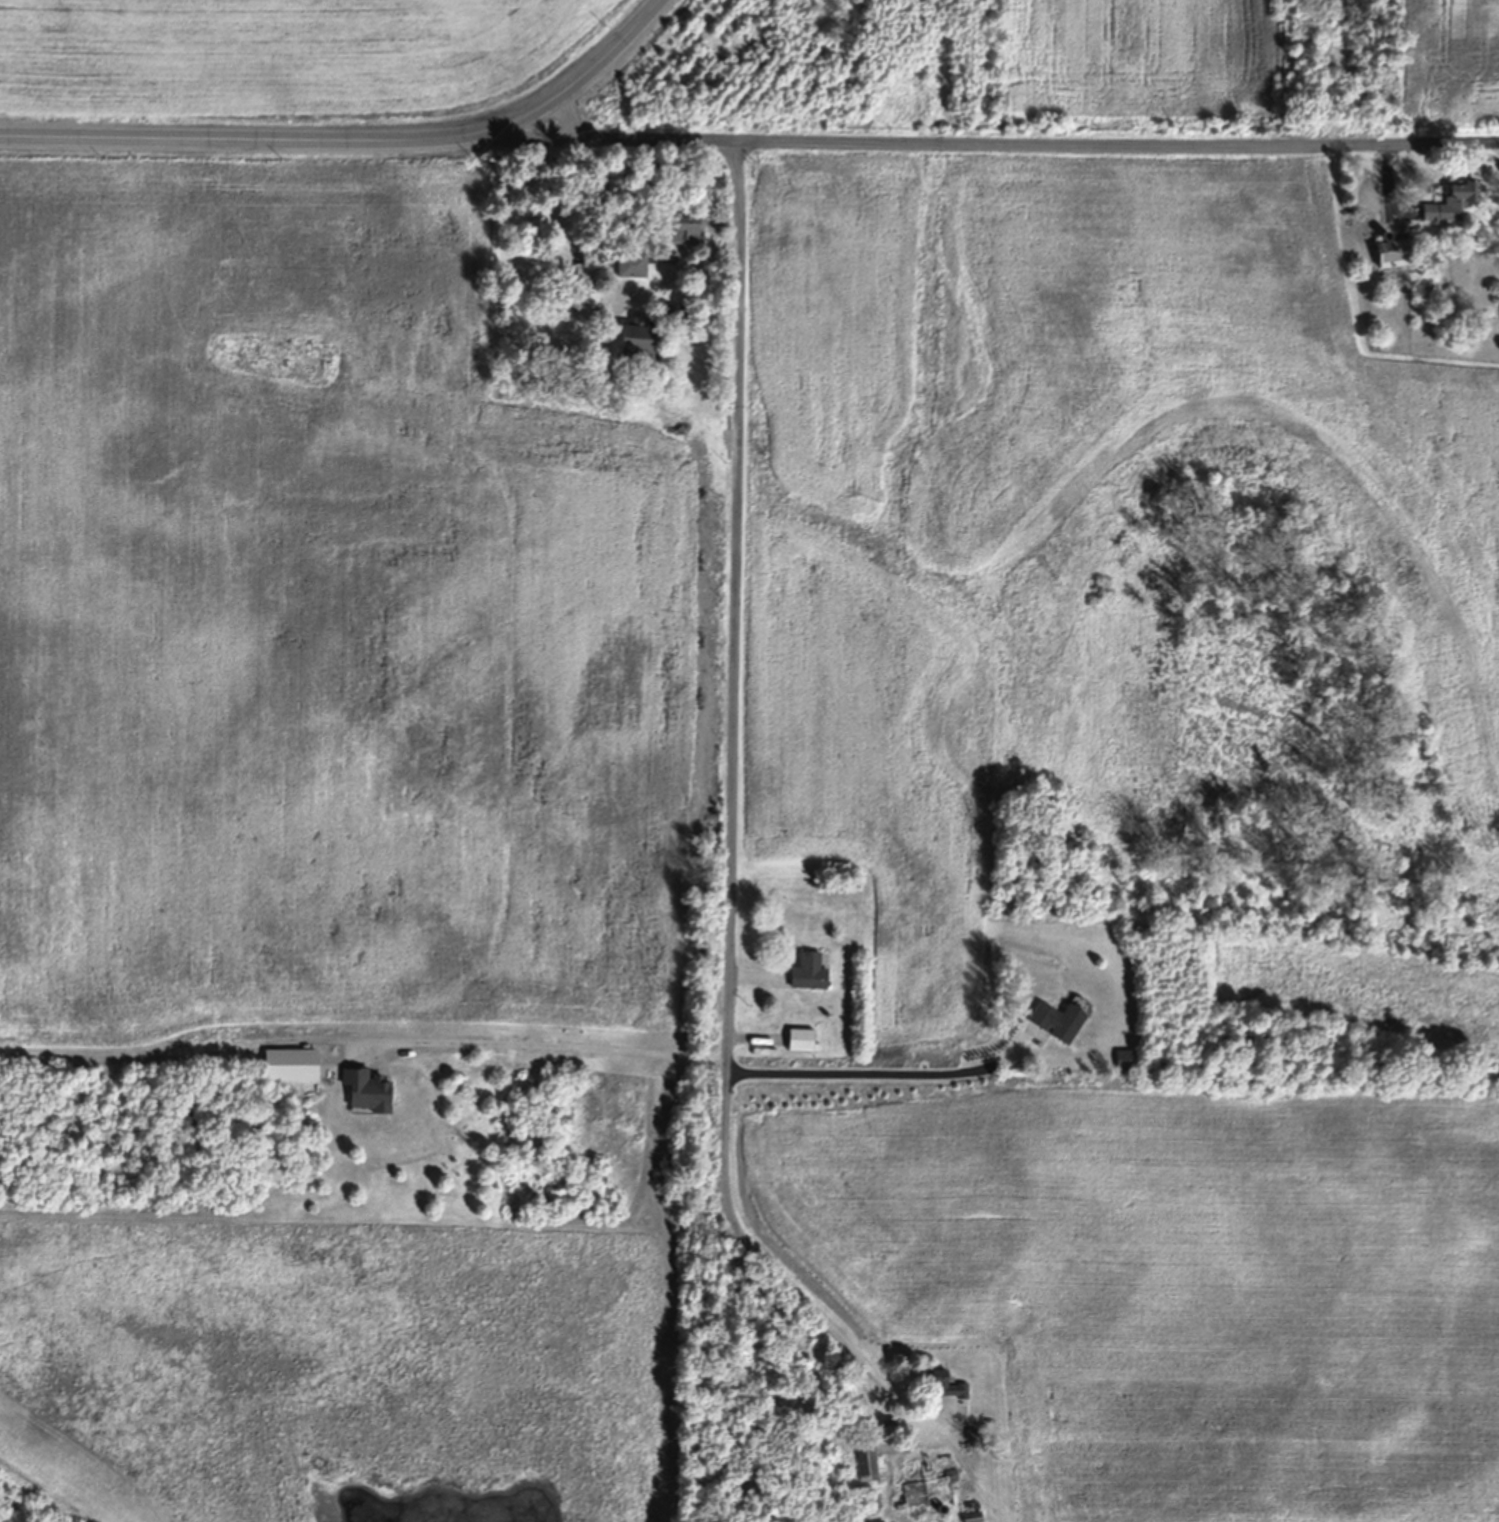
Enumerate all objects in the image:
road: (570, 121)
road: (357, 141)
road: (986, 149)
building: (1459, 202)
building: (693, 226)
building: (636, 264)
building: (592, 290)
building: (551, 337)
building: (648, 343)
road: (737, 801)
building: (813, 971)
building: (1062, 1019)
road: (558, 1038)
building: (805, 1039)
building: (1128, 1060)
road: (860, 1065)
building: (373, 1090)
building: (933, 1490)
building: (874, 1520)

